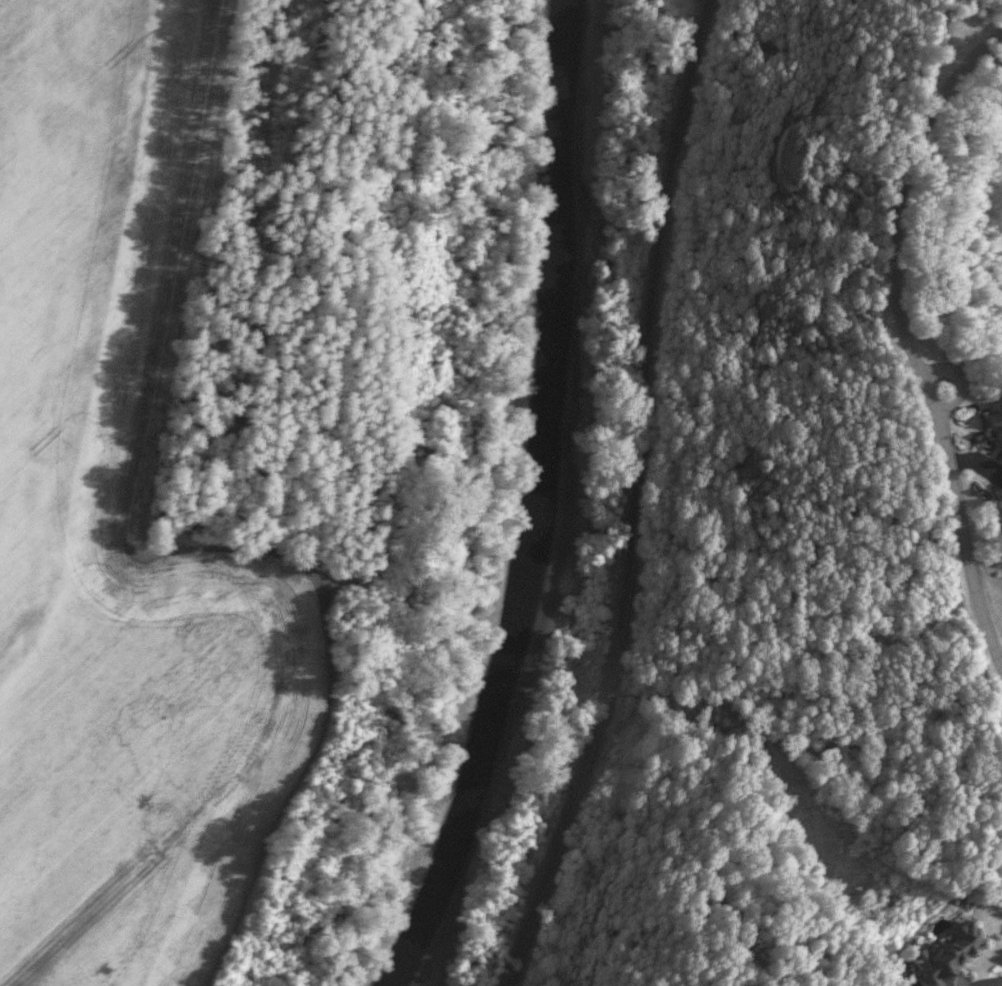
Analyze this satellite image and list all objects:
road: (908, 342)
building: (996, 417)
railway: (636, 499)
crop: (122, 539)
building: (947, 957)

